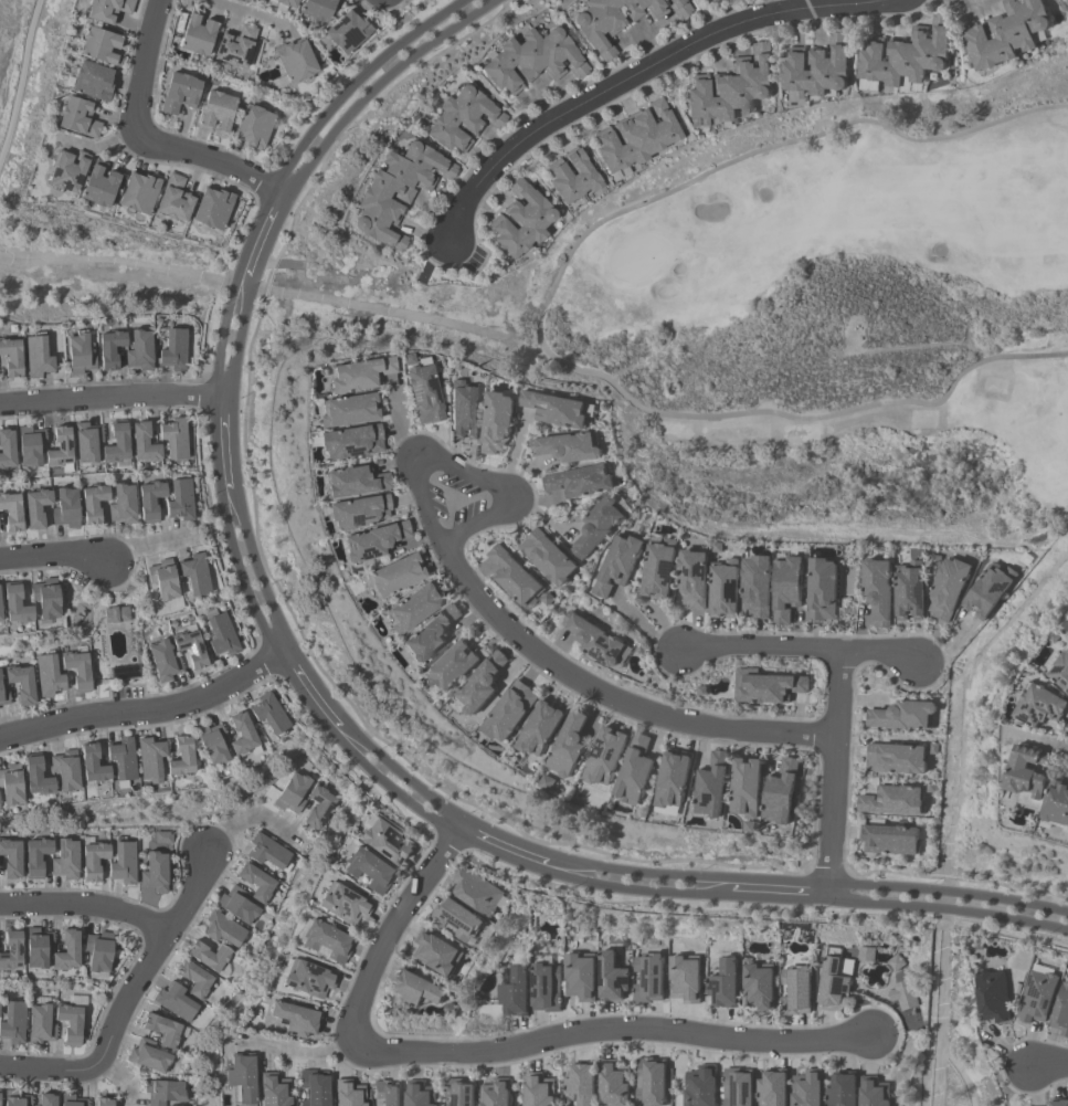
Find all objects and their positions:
building: (711, 0)
building: (283, 4)
road: (972, 6)
road: (771, 7)
building: (678, 8)
building: (107, 10)
building: (317, 10)
road: (241, 12)
building: (609, 21)
building: (197, 33)
building: (343, 33)
building: (1006, 33)
building: (98, 46)
building: (234, 46)
building: (906, 57)
building: (531, 60)
building: (295, 61)
road: (141, 64)
building: (817, 69)
road: (635, 75)
road: (19, 77)
building: (92, 81)
road: (368, 82)
building: (731, 87)
building: (179, 93)
building: (216, 112)
building: (77, 117)
building: (459, 118)
building: (253, 127)
building: (635, 137)
road: (208, 159)
building: (66, 171)
building: (571, 177)
building: (98, 185)
building: (394, 191)
building: (137, 193)
building: (173, 199)
building: (212, 208)
building: (520, 220)
road: (262, 233)
road: (121, 265)
road: (395, 313)
road: (231, 334)
park: (839, 336)
building: (109, 349)
building: (138, 350)
building: (172, 350)
building: (78, 354)
building: (35, 356)
building: (10, 357)
building: (358, 375)
building: (423, 391)
road: (110, 401)
building: (558, 409)
building: (347, 410)
building: (463, 410)
building: (497, 422)
building: (173, 439)
building: (86, 442)
building: (350, 442)
building: (142, 443)
road: (223, 443)
building: (116, 444)
building: (29, 446)
building: (569, 446)
building: (6, 450)
building: (60, 450)
road: (464, 472)
building: (581, 481)
building: (353, 482)
building: (149, 501)
building: (179, 501)
building: (93, 503)
building: (121, 504)
building: (35, 507)
building: (65, 508)
building: (11, 512)
building: (358, 512)
building: (599, 526)
building: (373, 541)
road: (147, 544)
road: (52, 557)
building: (548, 557)
building: (618, 565)
building: (659, 568)
building: (194, 573)
road: (247, 573)
building: (515, 576)
building: (393, 577)
building: (694, 578)
building: (162, 580)
building: (757, 587)
building: (725, 588)
building: (787, 588)
building: (948, 588)
building: (823, 589)
building: (988, 589)
building: (878, 590)
building: (909, 591)
building: (45, 599)
building: (14, 604)
building: (413, 608)
building: (115, 614)
building: (0, 618)
building: (431, 633)
building: (220, 635)
building: (593, 639)
building: (189, 646)
road: (803, 651)
building: (162, 661)
building: (453, 665)
building: (76, 670)
building: (1060, 671)
building: (47, 676)
building: (20, 684)
building: (479, 685)
building: (766, 686)
road: (307, 692)
building: (3, 697)
road: (610, 699)
building: (1038, 706)
road: (146, 712)
building: (509, 712)
building: (268, 715)
building: (903, 716)
building: (540, 728)
building: (241, 736)
building: (211, 745)
building: (569, 745)
building: (604, 757)
building: (121, 759)
building: (149, 759)
building: (179, 759)
building: (896, 759)
building: (92, 766)
building: (64, 770)
building: (634, 771)
building: (1026, 771)
road: (837, 773)
building: (35, 777)
road: (394, 781)
building: (673, 782)
building: (10, 786)
building: (712, 786)
building: (747, 788)
building: (782, 792)
building: (292, 793)
building: (892, 801)
building: (1056, 804)
building: (318, 808)
road: (244, 820)
building: (163, 838)
building: (890, 840)
building: (385, 843)
road: (500, 844)
building: (267, 853)
building: (36, 856)
building: (10, 857)
building: (65, 860)
building: (92, 861)
building: (123, 863)
building: (368, 871)
building: (154, 873)
road: (636, 879)
building: (256, 883)
road: (782, 891)
road: (949, 891)
building: (477, 892)
road: (85, 905)
building: (236, 905)
building: (342, 905)
road: (949, 909)
building: (457, 919)
building: (222, 929)
road: (390, 930)
building: (326, 941)
building: (36, 948)
building: (10, 950)
building: (65, 951)
building: (97, 951)
building: (437, 954)
building: (866, 954)
building: (208, 957)
building: (896, 962)
building: (581, 976)
building: (612, 978)
building: (649, 978)
building: (835, 978)
building: (193, 979)
building: (308, 979)
building: (685, 979)
building: (723, 984)
building: (546, 987)
building: (759, 987)
building: (417, 990)
building: (796, 991)
building: (515, 993)
building: (903, 994)
building: (993, 997)
building: (1037, 997)
road: (126, 998)
building: (175, 1002)
building: (1061, 1011)
building: (294, 1020)
building: (12, 1023)
building: (68, 1023)
building: (40, 1025)
road: (615, 1029)
building: (162, 1031)
road: (304, 1052)
building: (148, 1056)
road: (1049, 1065)
road: (123, 1077)
building: (240, 1079)
building: (652, 1082)
building: (582, 1083)
building: (615, 1083)
building: (701, 1086)
building: (311, 1087)
building: (739, 1087)
building: (774, 1088)
building: (808, 1088)
building: (541, 1089)
building: (843, 1089)
building: (273, 1091)
building: (163, 1092)
building: (462, 1092)
building: (875, 1092)
building: (347, 1093)
building: (387, 1093)
building: (497, 1093)
building: (421, 1094)
building: (14, 1099)
building: (45, 1100)
building: (71, 1100)
building: (1058, 1102)
building: (103, 1103)

